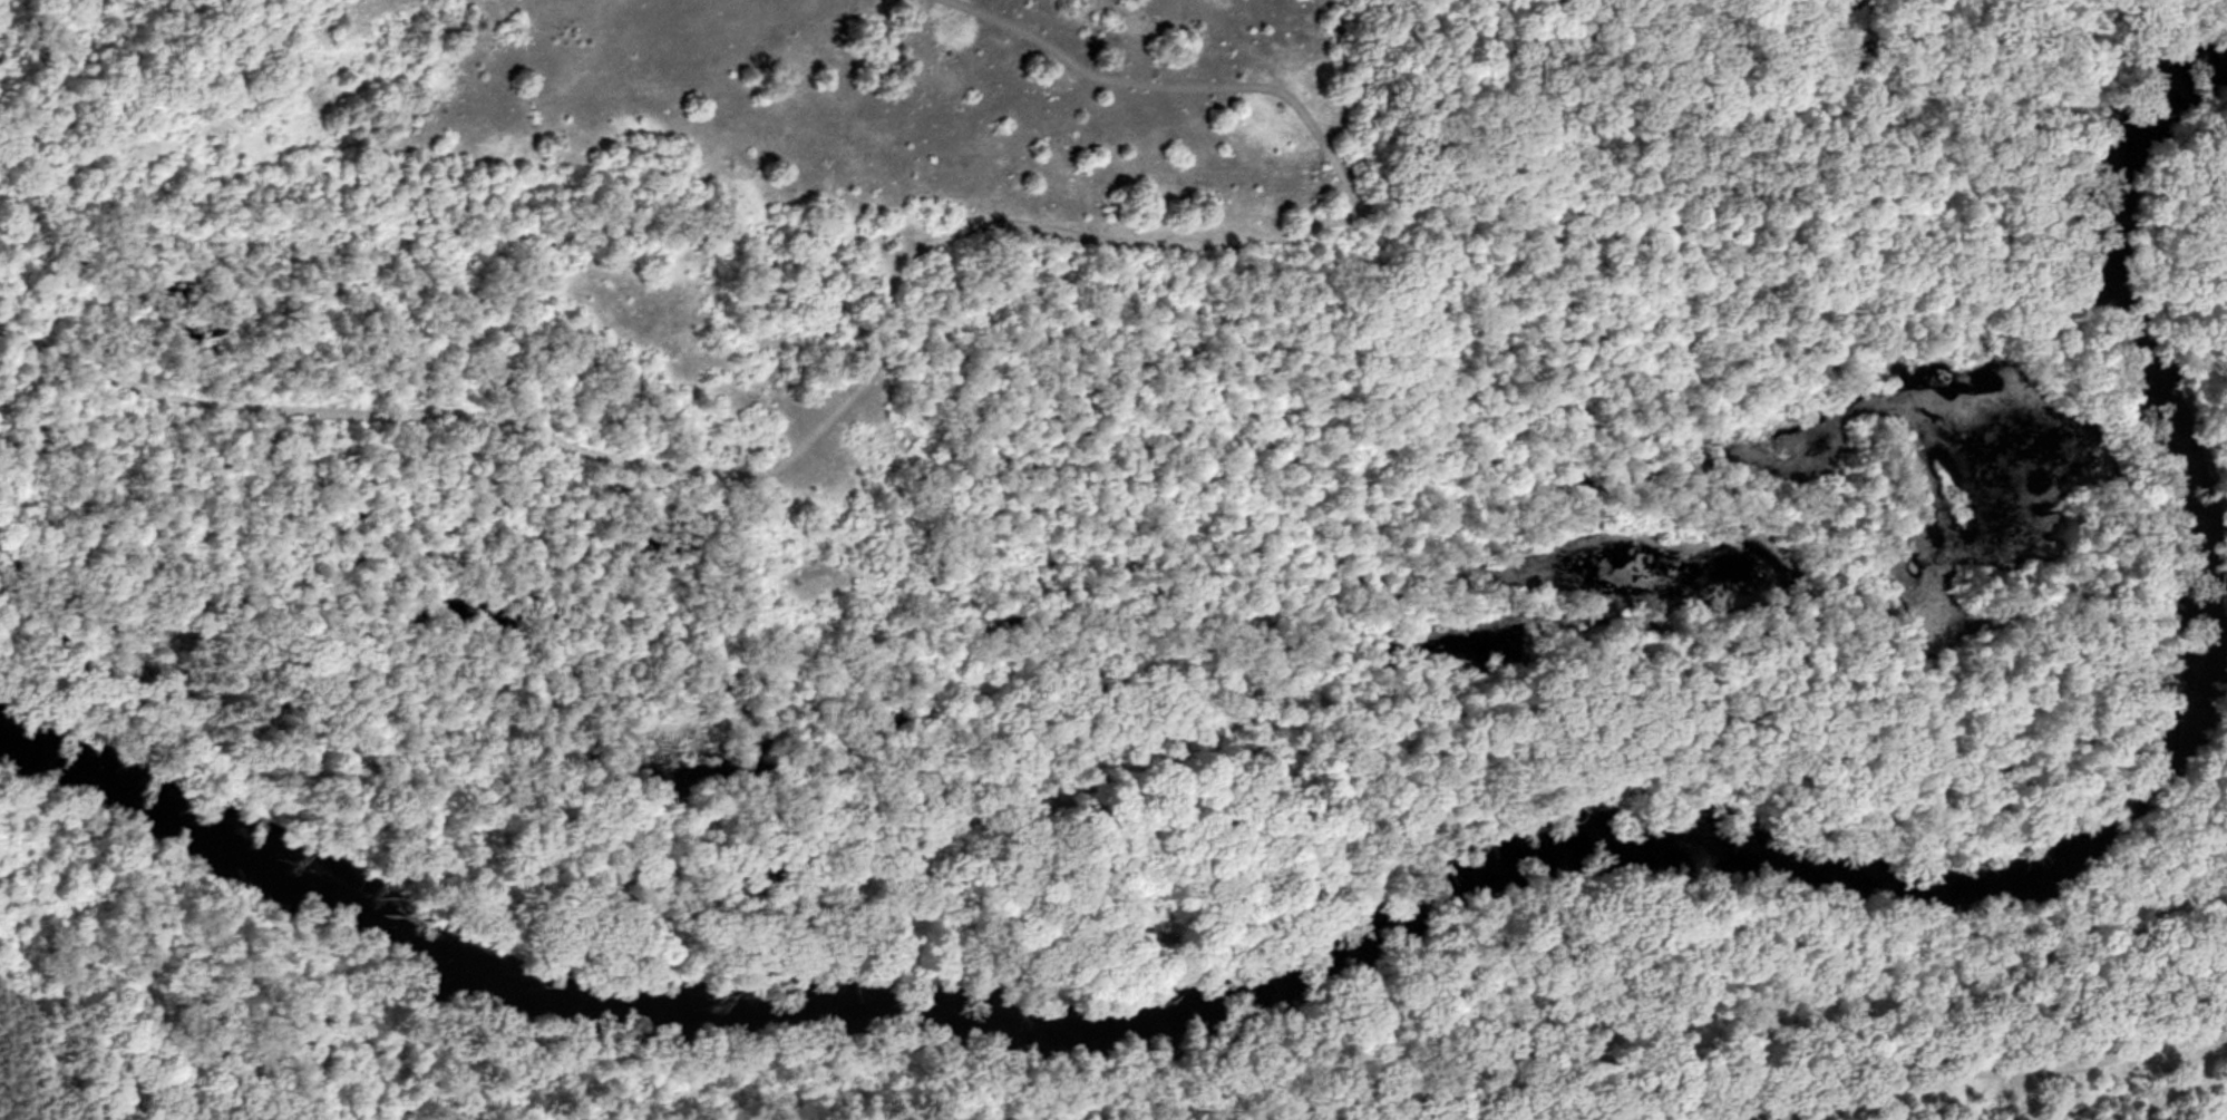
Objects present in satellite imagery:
road: (1041, 222)
road: (2162, 264)
park: (1113, 559)
river: (1460, 889)
road: (87, 1030)
road: (1139, 1084)
road: (2022, 1088)
road: (920, 1091)

